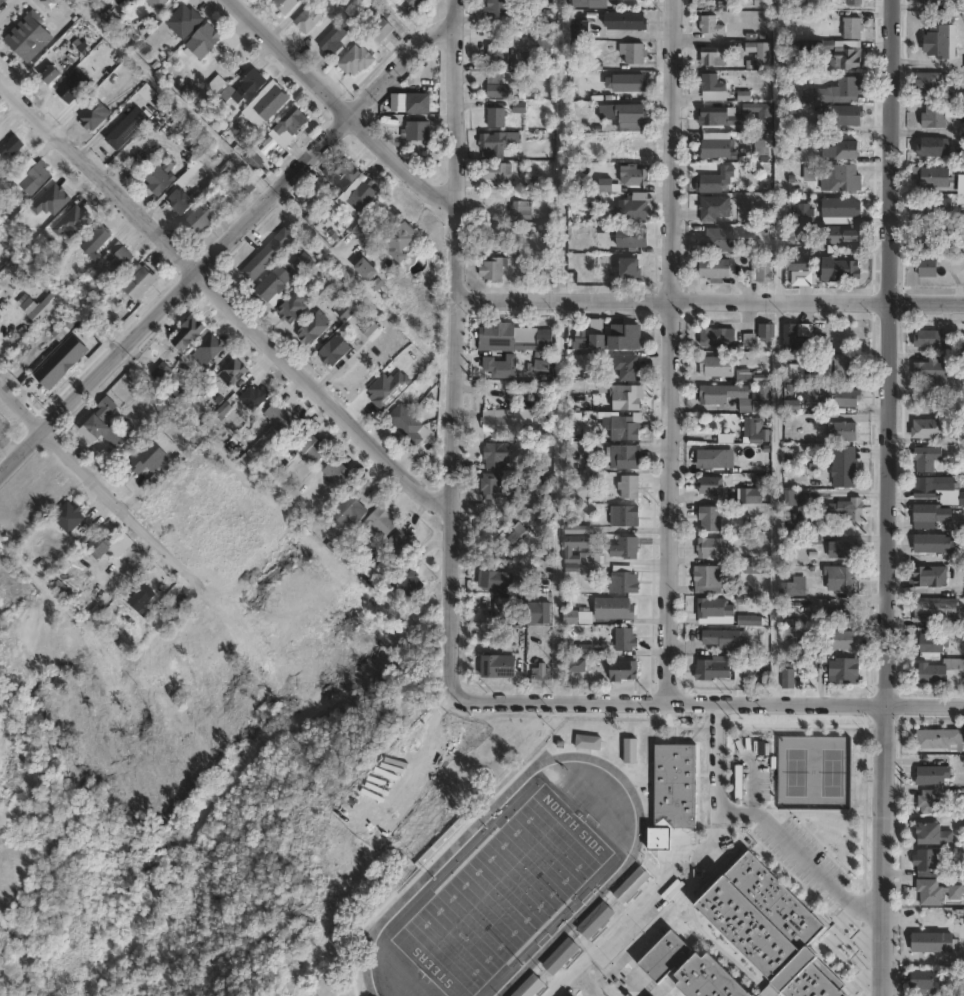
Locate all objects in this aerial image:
building: (550, 0)
building: (631, 0)
building: (646, 0)
building: (1, 1)
building: (159, 3)
building: (415, 3)
building: (763, 3)
building: (854, 3)
building: (937, 3)
building: (589, 4)
building: (285, 5)
building: (498, 7)
building: (308, 19)
road: (404, 19)
building: (183, 21)
building: (625, 21)
building: (711, 25)
building: (853, 28)
building: (580, 29)
building: (381, 31)
building: (28, 36)
building: (202, 41)
building: (333, 42)
building: (938, 43)
building: (543, 50)
building: (761, 52)
building: (839, 53)
building: (635, 54)
building: (497, 55)
building: (715, 56)
building: (356, 60)
building: (523, 63)
building: (49, 76)
building: (931, 82)
building: (629, 83)
building: (238, 87)
building: (713, 88)
building: (190, 91)
building: (500, 92)
building: (835, 92)
building: (269, 101)
building: (413, 103)
road: (345, 108)
building: (847, 116)
building: (93, 117)
building: (625, 117)
building: (935, 117)
building: (496, 118)
building: (719, 120)
building: (291, 121)
building: (172, 127)
building: (127, 129)
building: (416, 131)
building: (492, 144)
building: (716, 146)
building: (10, 147)
building: (934, 147)
building: (845, 151)
building: (189, 173)
building: (497, 176)
building: (634, 176)
building: (933, 178)
building: (35, 179)
building: (158, 180)
building: (716, 180)
building: (843, 180)
building: (961, 185)
building: (351, 186)
building: (305, 199)
building: (181, 202)
building: (635, 208)
building: (714, 208)
building: (842, 209)
building: (933, 209)
building: (521, 211)
building: (806, 214)
building: (202, 218)
building: (362, 231)
building: (807, 234)
building: (844, 236)
building: (632, 238)
building: (938, 238)
road: (224, 240)
building: (718, 240)
building: (401, 242)
building: (95, 243)
building: (270, 255)
building: (118, 256)
building: (302, 262)
building: (799, 264)
building: (629, 267)
building: (927, 268)
building: (494, 270)
building: (715, 270)
building: (365, 271)
building: (842, 271)
building: (763, 273)
building: (805, 277)
building: (273, 282)
building: (139, 285)
road: (227, 300)
road: (707, 301)
building: (25, 303)
building: (42, 308)
building: (291, 308)
building: (344, 312)
building: (63, 328)
building: (313, 328)
building: (369, 328)
building: (767, 330)
building: (187, 331)
building: (615, 334)
building: (718, 336)
building: (795, 338)
building: (935, 339)
building: (513, 340)
building: (207, 349)
building: (334, 349)
road: (450, 352)
road: (672, 352)
building: (541, 365)
building: (500, 366)
building: (845, 366)
building: (628, 367)
building: (716, 367)
building: (931, 370)
building: (160, 371)
building: (233, 372)
building: (802, 373)
building: (717, 394)
building: (838, 395)
building: (625, 396)
building: (254, 397)
building: (757, 401)
building: (105, 406)
building: (280, 416)
building: (504, 421)
building: (406, 422)
building: (624, 428)
building: (931, 428)
building: (758, 429)
building: (843, 430)
building: (100, 431)
building: (310, 446)
road: (7, 447)
building: (496, 454)
building: (624, 456)
building: (148, 458)
building: (712, 458)
building: (927, 458)
building: (844, 466)
building: (339, 475)
road: (96, 480)
building: (491, 483)
building: (712, 485)
building: (629, 487)
building: (925, 487)
building: (752, 496)
road: (884, 497)
building: (790, 498)
building: (962, 498)
building: (349, 508)
building: (848, 508)
building: (69, 512)
building: (928, 513)
building: (626, 516)
building: (711, 518)
building: (381, 520)
building: (792, 523)
building: (580, 529)
building: (521, 538)
building: (934, 543)
building: (108, 545)
building: (399, 545)
building: (626, 547)
building: (712, 547)
building: (846, 549)
building: (582, 550)
building: (378, 576)
building: (930, 576)
building: (841, 578)
building: (494, 579)
building: (710, 579)
building: (623, 580)
building: (406, 581)
building: (795, 587)
building: (63, 589)
building: (145, 593)
building: (615, 608)
building: (937, 609)
building: (715, 611)
building: (536, 612)
building: (842, 614)
building: (572, 617)
building: (751, 620)
building: (790, 633)
building: (722, 638)
building: (626, 640)
building: (843, 640)
building: (931, 642)
building: (497, 665)
building: (579, 665)
building: (714, 668)
building: (623, 670)
building: (845, 671)
building: (942, 673)
building: (542, 675)
building: (750, 676)
building: (789, 676)
road: (590, 703)
road: (841, 706)
building: (940, 739)
building: (589, 742)
building: (630, 750)
road: (418, 754)
park: (794, 771)
park: (830, 772)
building: (933, 775)
building: (675, 787)
building: (929, 801)
building: (935, 834)
road: (801, 857)
building: (930, 862)
road: (679, 868)
track: (428, 871)
building: (631, 885)
building: (930, 892)
building: (956, 892)
park: (500, 894)
building: (595, 921)
building: (769, 927)
building: (935, 943)
building: (561, 957)
building: (665, 957)
building: (709, 979)
building: (926, 982)
building: (531, 987)

